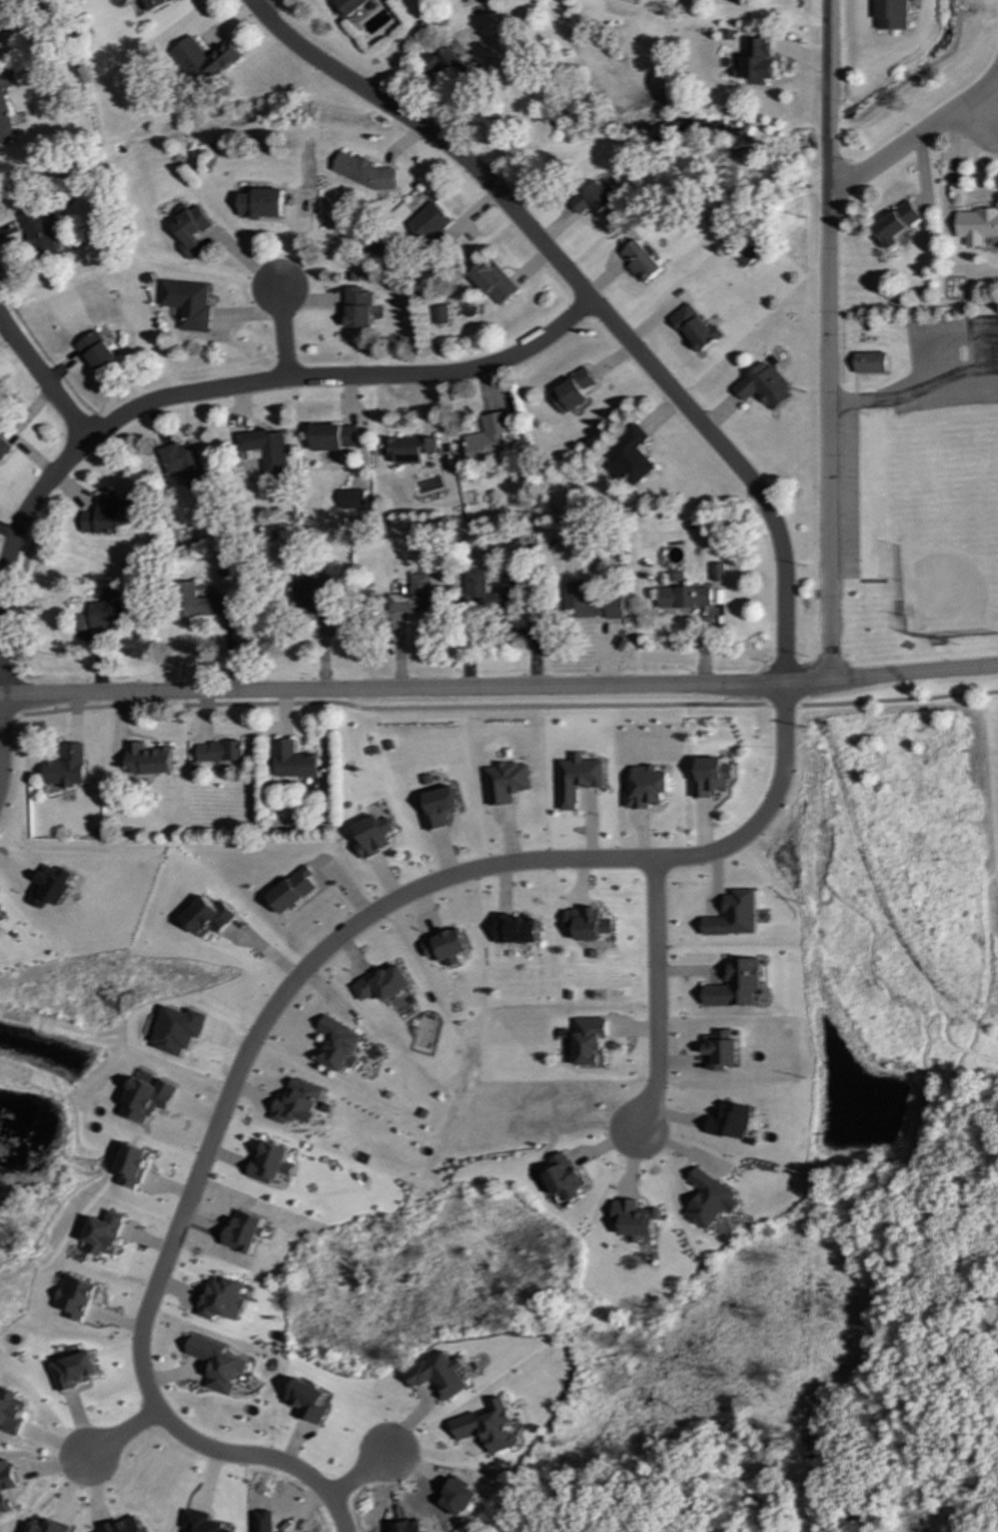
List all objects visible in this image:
building: (156, 4)
road: (261, 4)
building: (890, 14)
building: (202, 59)
building: (757, 61)
building: (444, 63)
building: (5, 105)
road: (916, 137)
road: (951, 171)
building: (364, 172)
building: (592, 198)
building: (260, 203)
building: (428, 223)
building: (895, 224)
building: (976, 225)
building: (190, 230)
building: (37, 233)
building: (746, 253)
building: (640, 261)
building: (492, 282)
road: (587, 298)
building: (187, 303)
building: (357, 308)
building: (440, 315)
building: (696, 328)
road: (281, 334)
road: (828, 340)
road: (933, 341)
building: (95, 351)
building: (870, 363)
parking lot: (948, 364)
road: (42, 381)
road: (959, 382)
road: (249, 385)
building: (764, 386)
building: (571, 391)
road: (875, 396)
building: (333, 436)
building: (488, 436)
building: (2, 447)
building: (264, 448)
building: (409, 448)
building: (628, 457)
building: (183, 464)
building: (101, 516)
park: (946, 548)
building: (716, 572)
building: (513, 577)
building: (674, 579)
building: (484, 592)
building: (413, 594)
building: (310, 595)
building: (683, 597)
building: (204, 602)
building: (590, 603)
building: (106, 610)
road: (499, 687)
road: (896, 698)
road: (781, 705)
road: (390, 708)
road: (6, 715)
building: (220, 752)
road: (0, 758)
building: (147, 759)
building: (294, 760)
building: (66, 767)
building: (711, 777)
building: (577, 779)
building: (506, 782)
building: (646, 788)
building: (439, 808)
building: (371, 838)
building: (50, 887)
building: (293, 890)
building: (733, 915)
building: (209, 917)
building: (1, 918)
building: (588, 923)
building: (515, 929)
park: (914, 938)
building: (446, 945)
building: (384, 984)
building: (735, 984)
road: (279, 998)
road: (654, 998)
building: (177, 1030)
building: (590, 1041)
building: (340, 1045)
building: (720, 1051)
building: (147, 1099)
building: (299, 1103)
building: (731, 1121)
building: (272, 1164)
building: (133, 1165)
building: (564, 1178)
building: (709, 1199)
building: (635, 1218)
building: (105, 1233)
building: (76, 1297)
building: (222, 1299)
building: (217, 1364)
building: (73, 1370)
building: (439, 1375)
building: (308, 1401)
building: (11, 1412)
building: (489, 1427)
road: (115, 1430)
road: (361, 1475)
building: (6, 1486)
building: (200, 1522)
building: (124, 1526)
building: (47, 1527)

